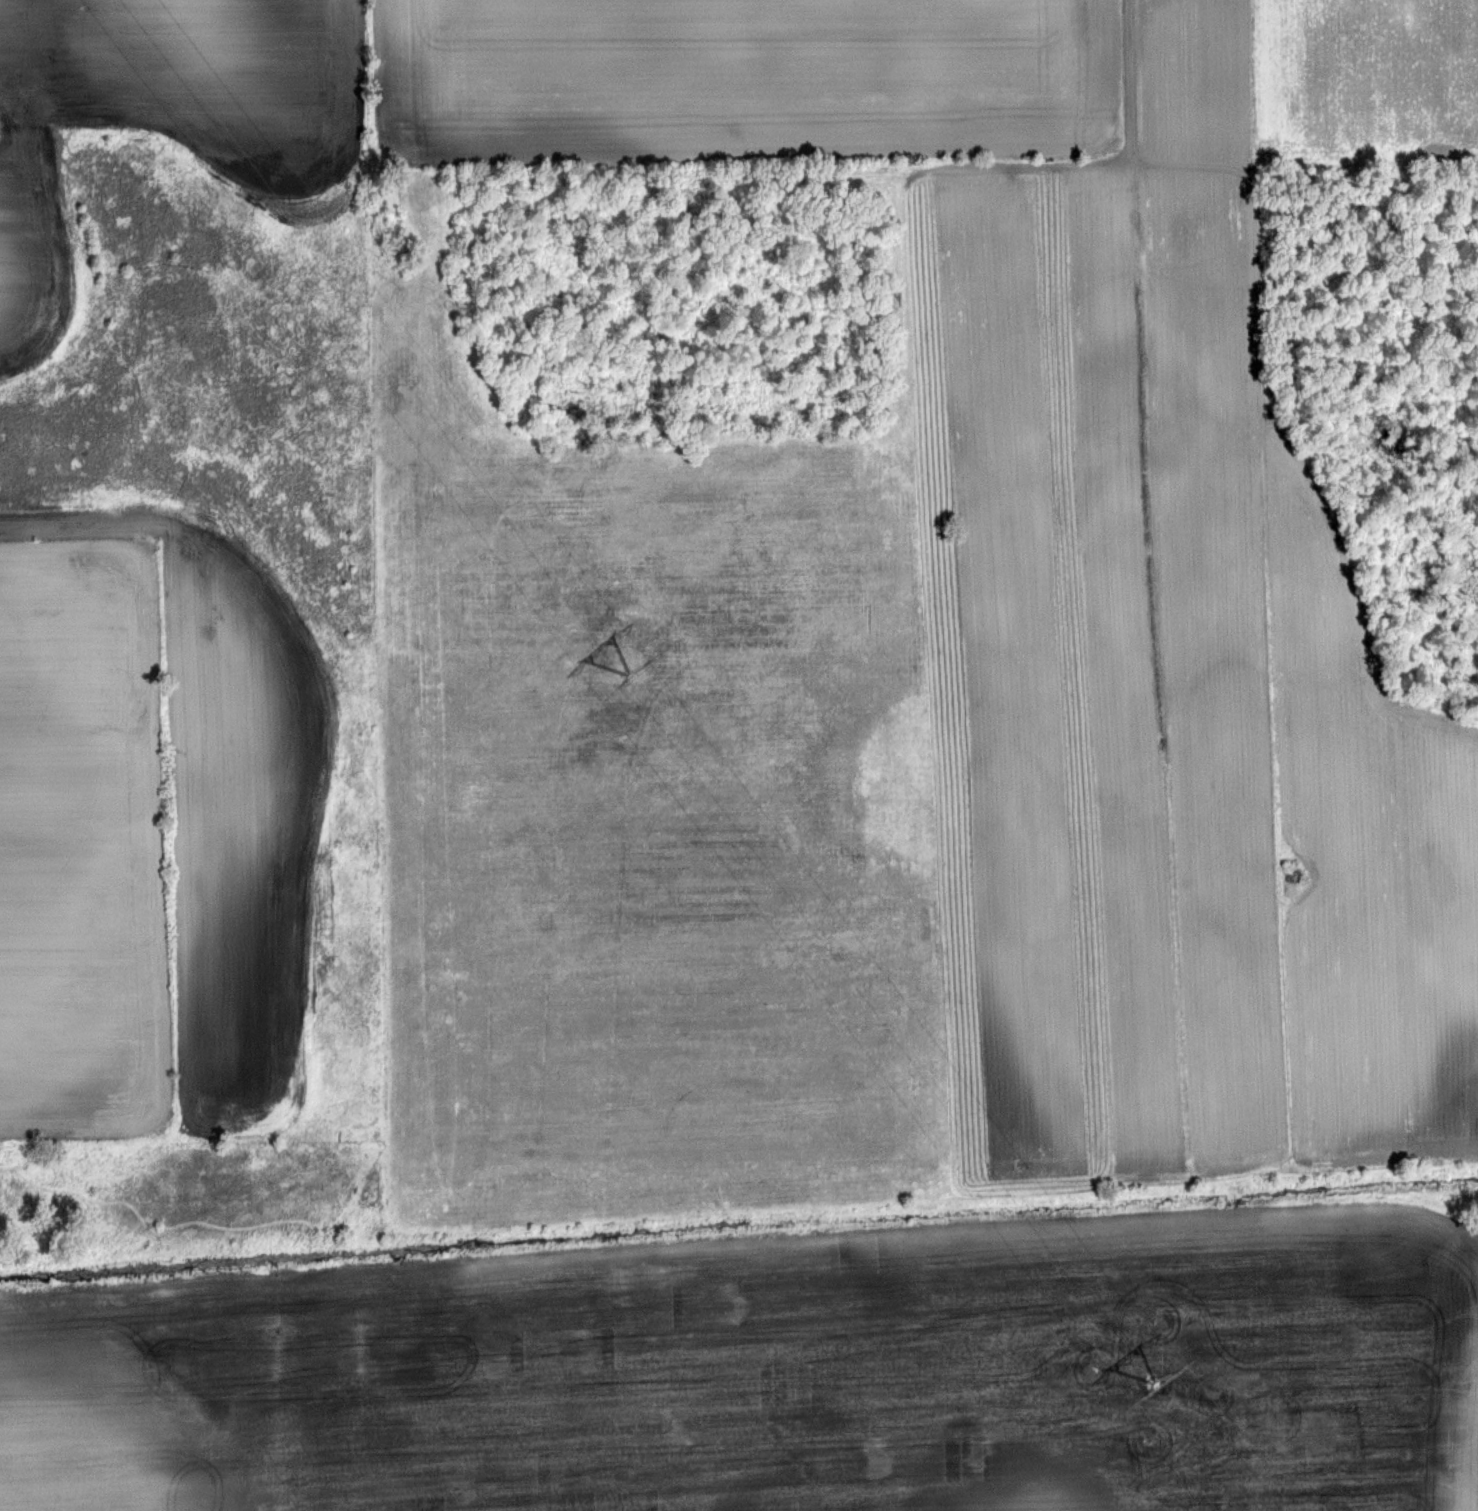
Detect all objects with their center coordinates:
road: (1129, 82)
power tower: (627, 674)
power tower: (1150, 1382)

